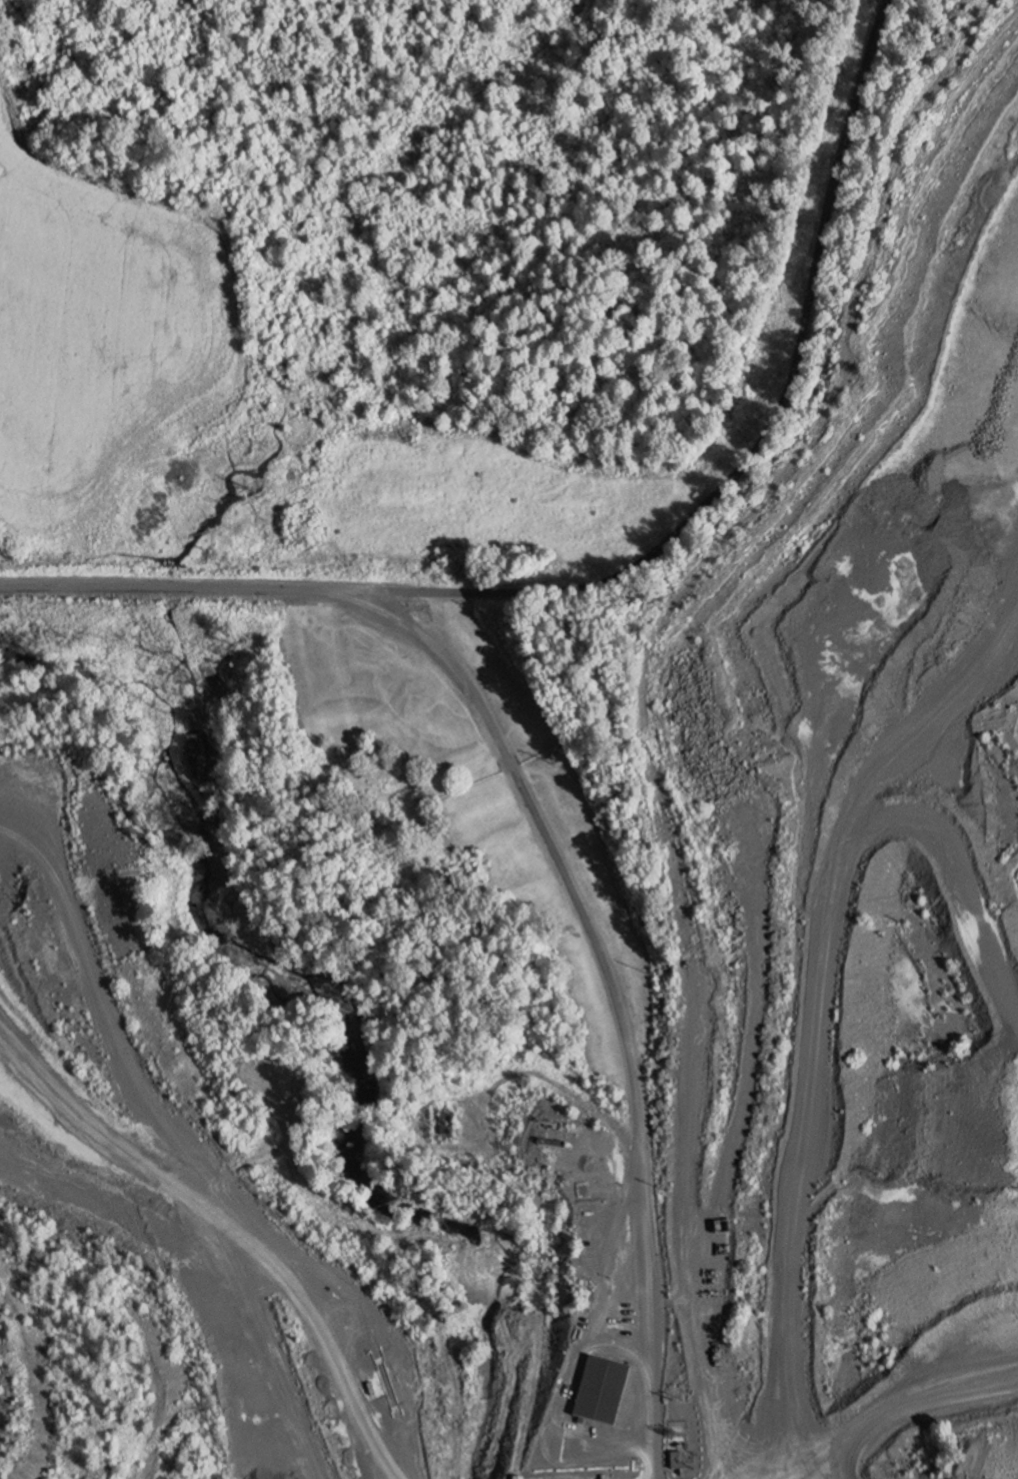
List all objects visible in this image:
road: (634, 567)
road: (924, 717)
road: (590, 937)
road: (696, 992)
quarry: (564, 993)
road: (803, 1012)
building: (448, 1124)
road: (200, 1156)
road: (606, 1255)
building: (605, 1392)
building: (680, 1462)

